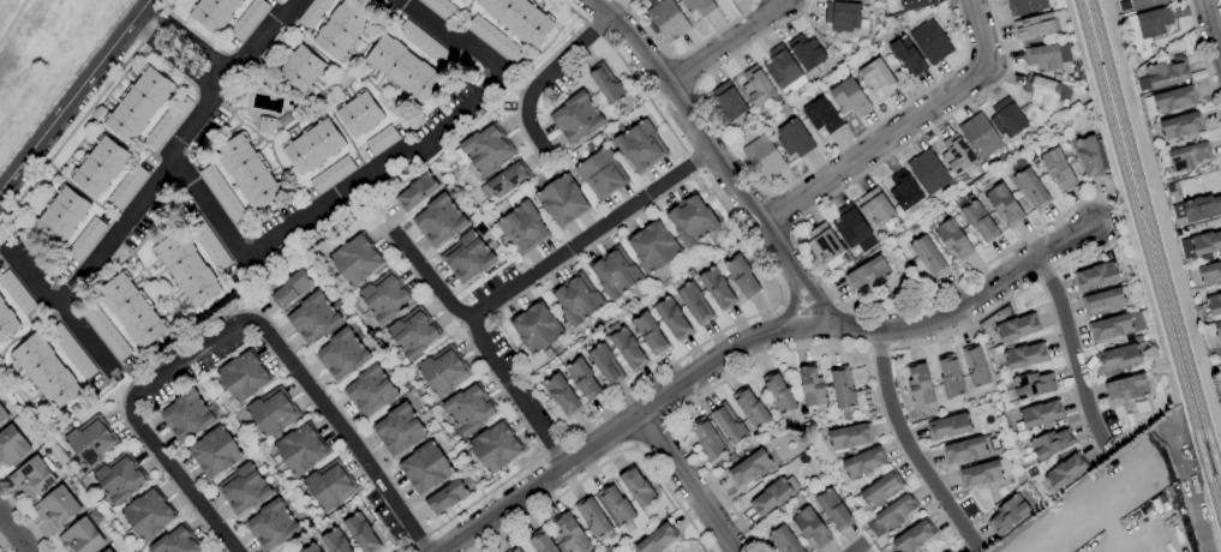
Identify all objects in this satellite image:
building: (717, 0)
building: (462, 1)
building: (915, 4)
building: (1145, 4)
building: (699, 6)
building: (1025, 6)
building: (441, 8)
building: (213, 13)
building: (312, 13)
building: (842, 16)
building: (249, 18)
building: (519, 19)
building: (665, 19)
road: (11, 20)
building: (1148, 23)
road: (1214, 24)
building: (1035, 25)
building: (341, 30)
building: (495, 38)
road: (188, 41)
road: (724, 41)
building: (930, 41)
building: (425, 44)
building: (274, 49)
road: (682, 54)
building: (807, 54)
park: (42, 55)
building: (908, 56)
building: (1047, 56)
road: (174, 60)
road: (1204, 64)
building: (301, 68)
building: (402, 68)
building: (783, 70)
building: (1165, 73)
building: (878, 77)
road: (547, 80)
building: (606, 84)
building: (756, 86)
building: (1041, 91)
road: (73, 94)
building: (850, 97)
building: (1174, 98)
building: (726, 102)
building: (138, 104)
road: (681, 107)
road: (86, 113)
building: (359, 114)
building: (821, 115)
building: (576, 118)
building: (1007, 118)
building: (283, 120)
building: (167, 121)
building: (265, 125)
road: (902, 125)
building: (1178, 126)
road: (425, 134)
building: (980, 136)
building: (381, 139)
building: (794, 139)
building: (312, 146)
building: (640, 146)
building: (484, 150)
road: (180, 152)
building: (956, 154)
building: (1185, 156)
building: (764, 157)
building: (1091, 157)
building: (100, 167)
building: (1058, 168)
building: (247, 172)
building: (928, 172)
building: (331, 174)
building: (600, 174)
building: (504, 181)
building: (126, 186)
building: (1031, 188)
road: (779, 191)
building: (904, 191)
building: (415, 192)
building: (222, 193)
building: (562, 200)
road: (1085, 203)
building: (1004, 204)
building: (1202, 208)
building: (878, 210)
building: (60, 216)
building: (976, 217)
road: (204, 218)
building: (690, 220)
building: (438, 221)
building: (522, 228)
building: (852, 228)
road: (597, 236)
building: (85, 239)
building: (953, 239)
railway: (1153, 240)
building: (208, 241)
building: (1205, 244)
road: (5, 245)
building: (653, 246)
building: (824, 246)
building: (928, 256)
building: (467, 257)
building: (355, 260)
railway: (1147, 266)
building: (186, 269)
road: (791, 271)
building: (615, 272)
building: (867, 274)
building: (1205, 275)
building: (741, 276)
building: (1096, 276)
building: (717, 288)
building: (291, 289)
building: (16, 293)
building: (384, 296)
building: (577, 299)
building: (1102, 301)
building: (694, 302)
building: (1209, 307)
road: (960, 308)
building: (131, 310)
road: (66, 312)
building: (312, 318)
building: (672, 318)
road: (749, 319)
building: (6, 320)
building: (1117, 326)
building: (537, 328)
building: (1017, 328)
building: (106, 331)
building: (1214, 331)
building: (413, 332)
road: (243, 334)
building: (650, 334)
road: (490, 342)
road: (1071, 348)
building: (628, 349)
building: (71, 352)
building: (341, 355)
building: (1025, 355)
building: (1119, 358)
building: (605, 365)
building: (976, 366)
building: (443, 371)
building: (44, 372)
building: (243, 376)
building: (950, 377)
building: (582, 379)
building: (920, 384)
building: (1029, 385)
building: (843, 388)
building: (1126, 388)
building: (812, 389)
building: (370, 391)
building: (778, 394)
building: (562, 395)
building: (750, 408)
building: (469, 409)
building: (271, 413)
building: (2, 414)
building: (1039, 414)
building: (186, 415)
building: (729, 422)
road: (618, 425)
building: (948, 426)
building: (399, 430)
building: (850, 437)
building: (707, 438)
building: (91, 442)
building: (1051, 443)
road: (908, 445)
building: (11, 446)
building: (495, 448)
building: (300, 449)
building: (964, 450)
building: (214, 452)
road: (1205, 457)
road: (607, 461)
building: (863, 462)
building: (749, 467)
building: (425, 468)
building: (1065, 472)
building: (984, 473)
building: (32, 476)
building: (118, 479)
road: (686, 481)
building: (329, 485)
building: (636, 486)
building: (243, 488)
building: (880, 490)
building: (773, 496)
building: (445, 498)
building: (56, 508)
building: (617, 508)
building: (833, 509)
building: (1007, 514)
building: (148, 515)
building: (892, 516)
building: (592, 517)
road: (25, 518)
building: (271, 526)
building: (812, 528)
road: (13, 533)
building: (361, 533)
building: (570, 533)
building: (80, 538)
building: (782, 538)
building: (911, 538)
building: (657, 539)
building: (335, 541)
building: (541, 541)
building: (176, 542)
road: (860, 547)
road: (2, 548)
building: (311, 548)
building: (107, 550)
building: (514, 550)
building: (945, 551)
building: (946, 551)

